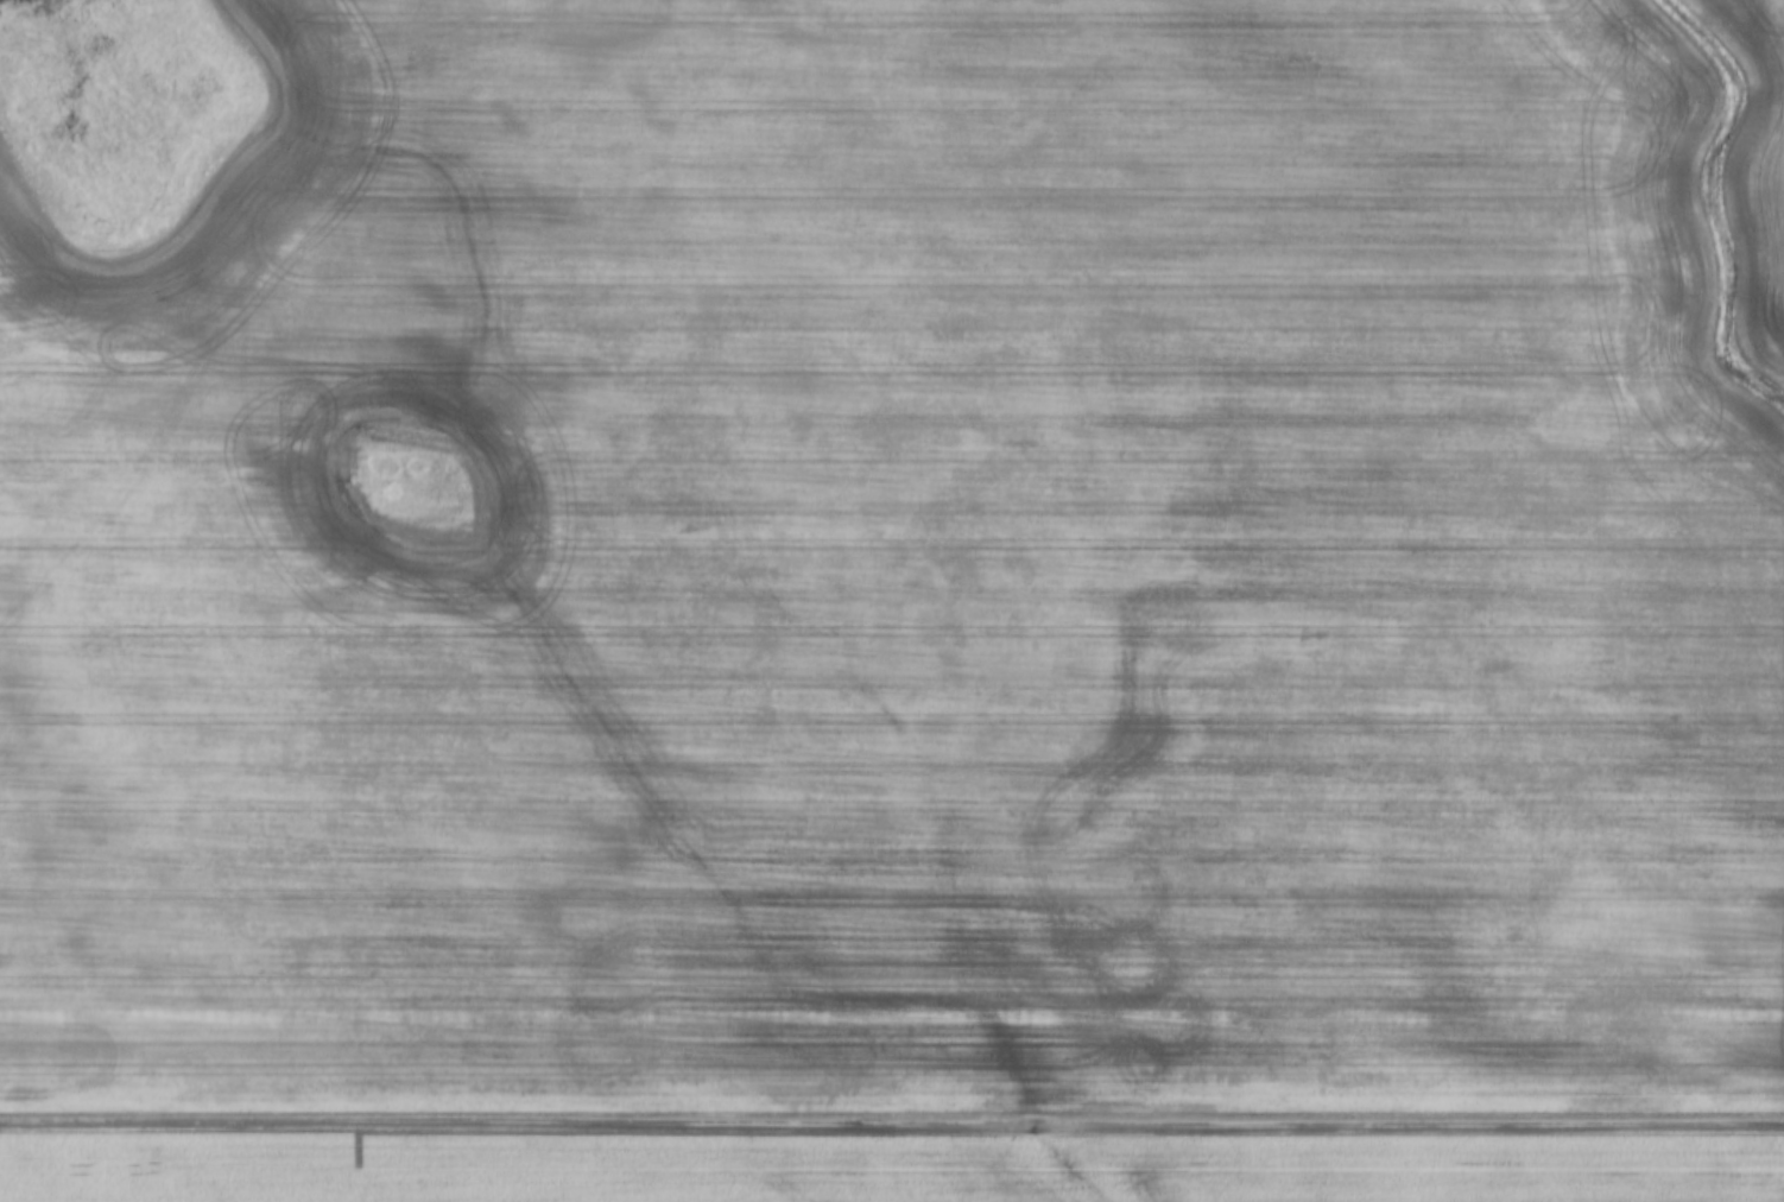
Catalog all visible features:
road: (891, 1135)

